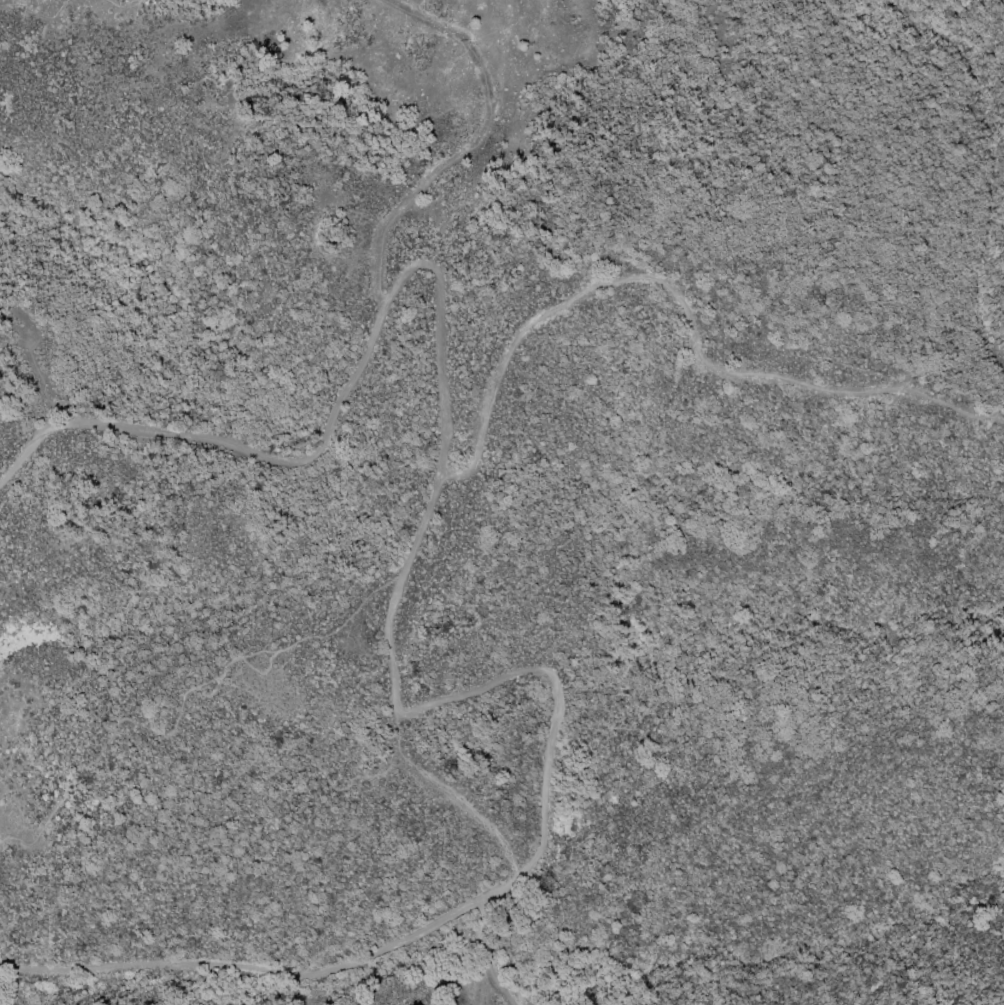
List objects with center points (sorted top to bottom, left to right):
road: (685, 307)
road: (441, 467)
road: (259, 969)

